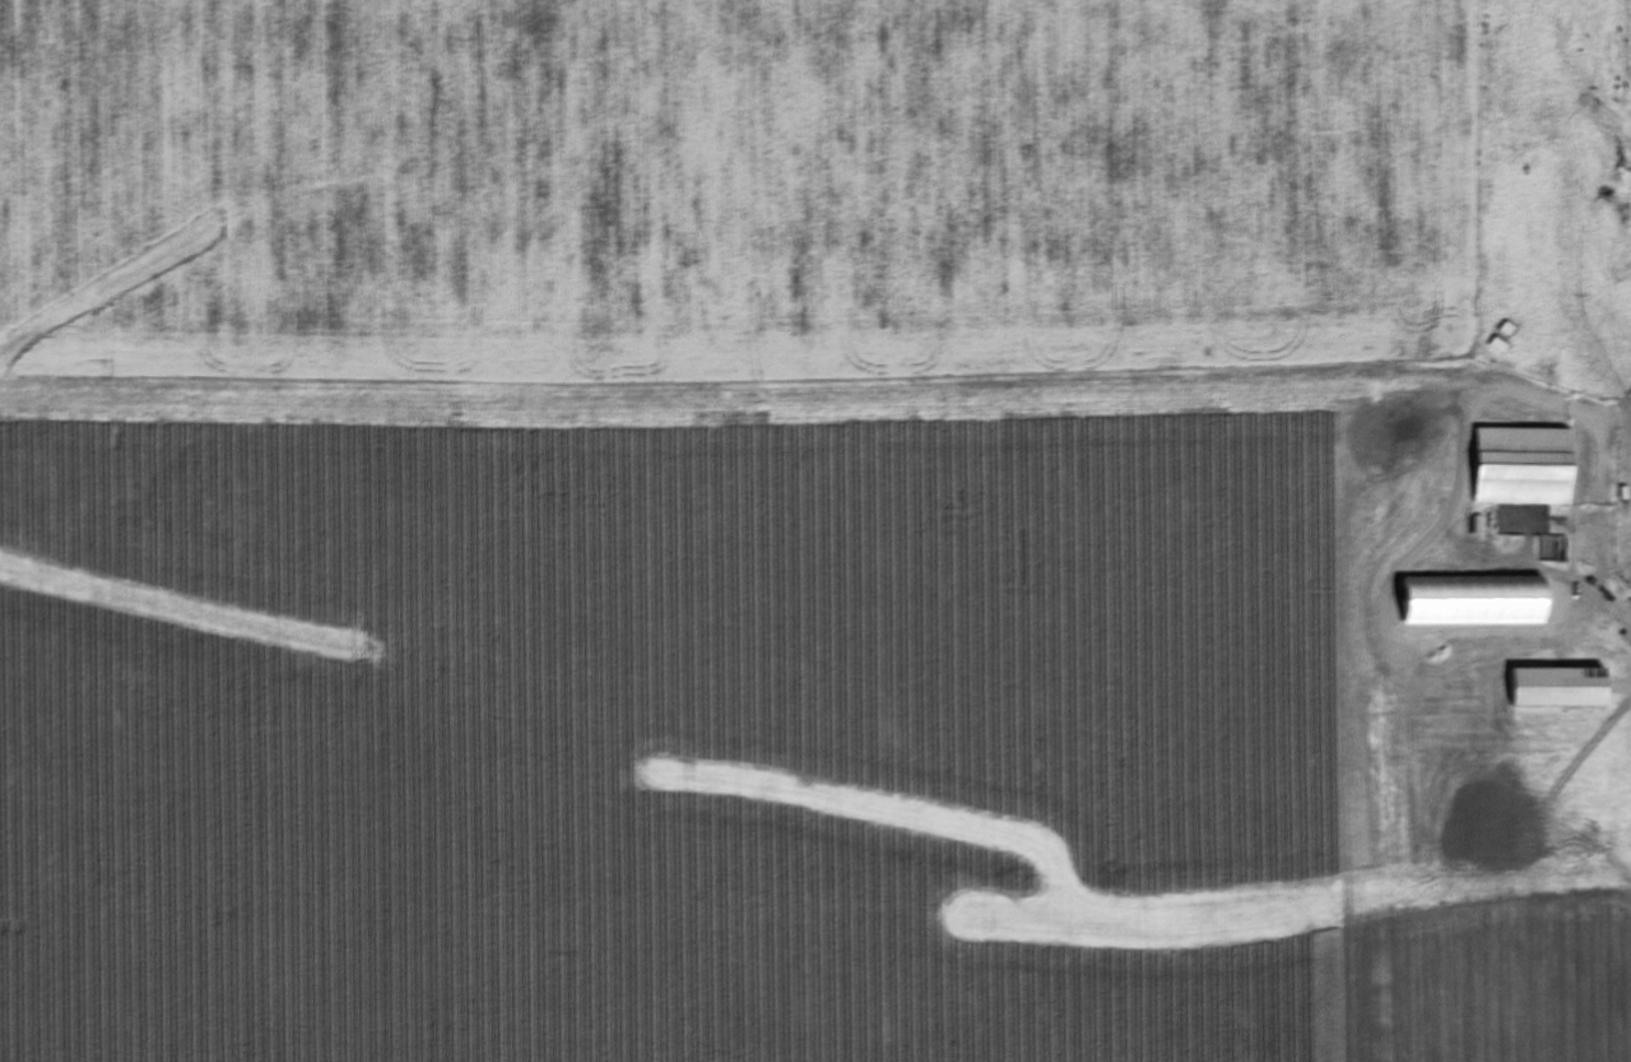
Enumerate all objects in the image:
building: (1524, 465)
building: (1528, 624)
building: (1561, 687)

